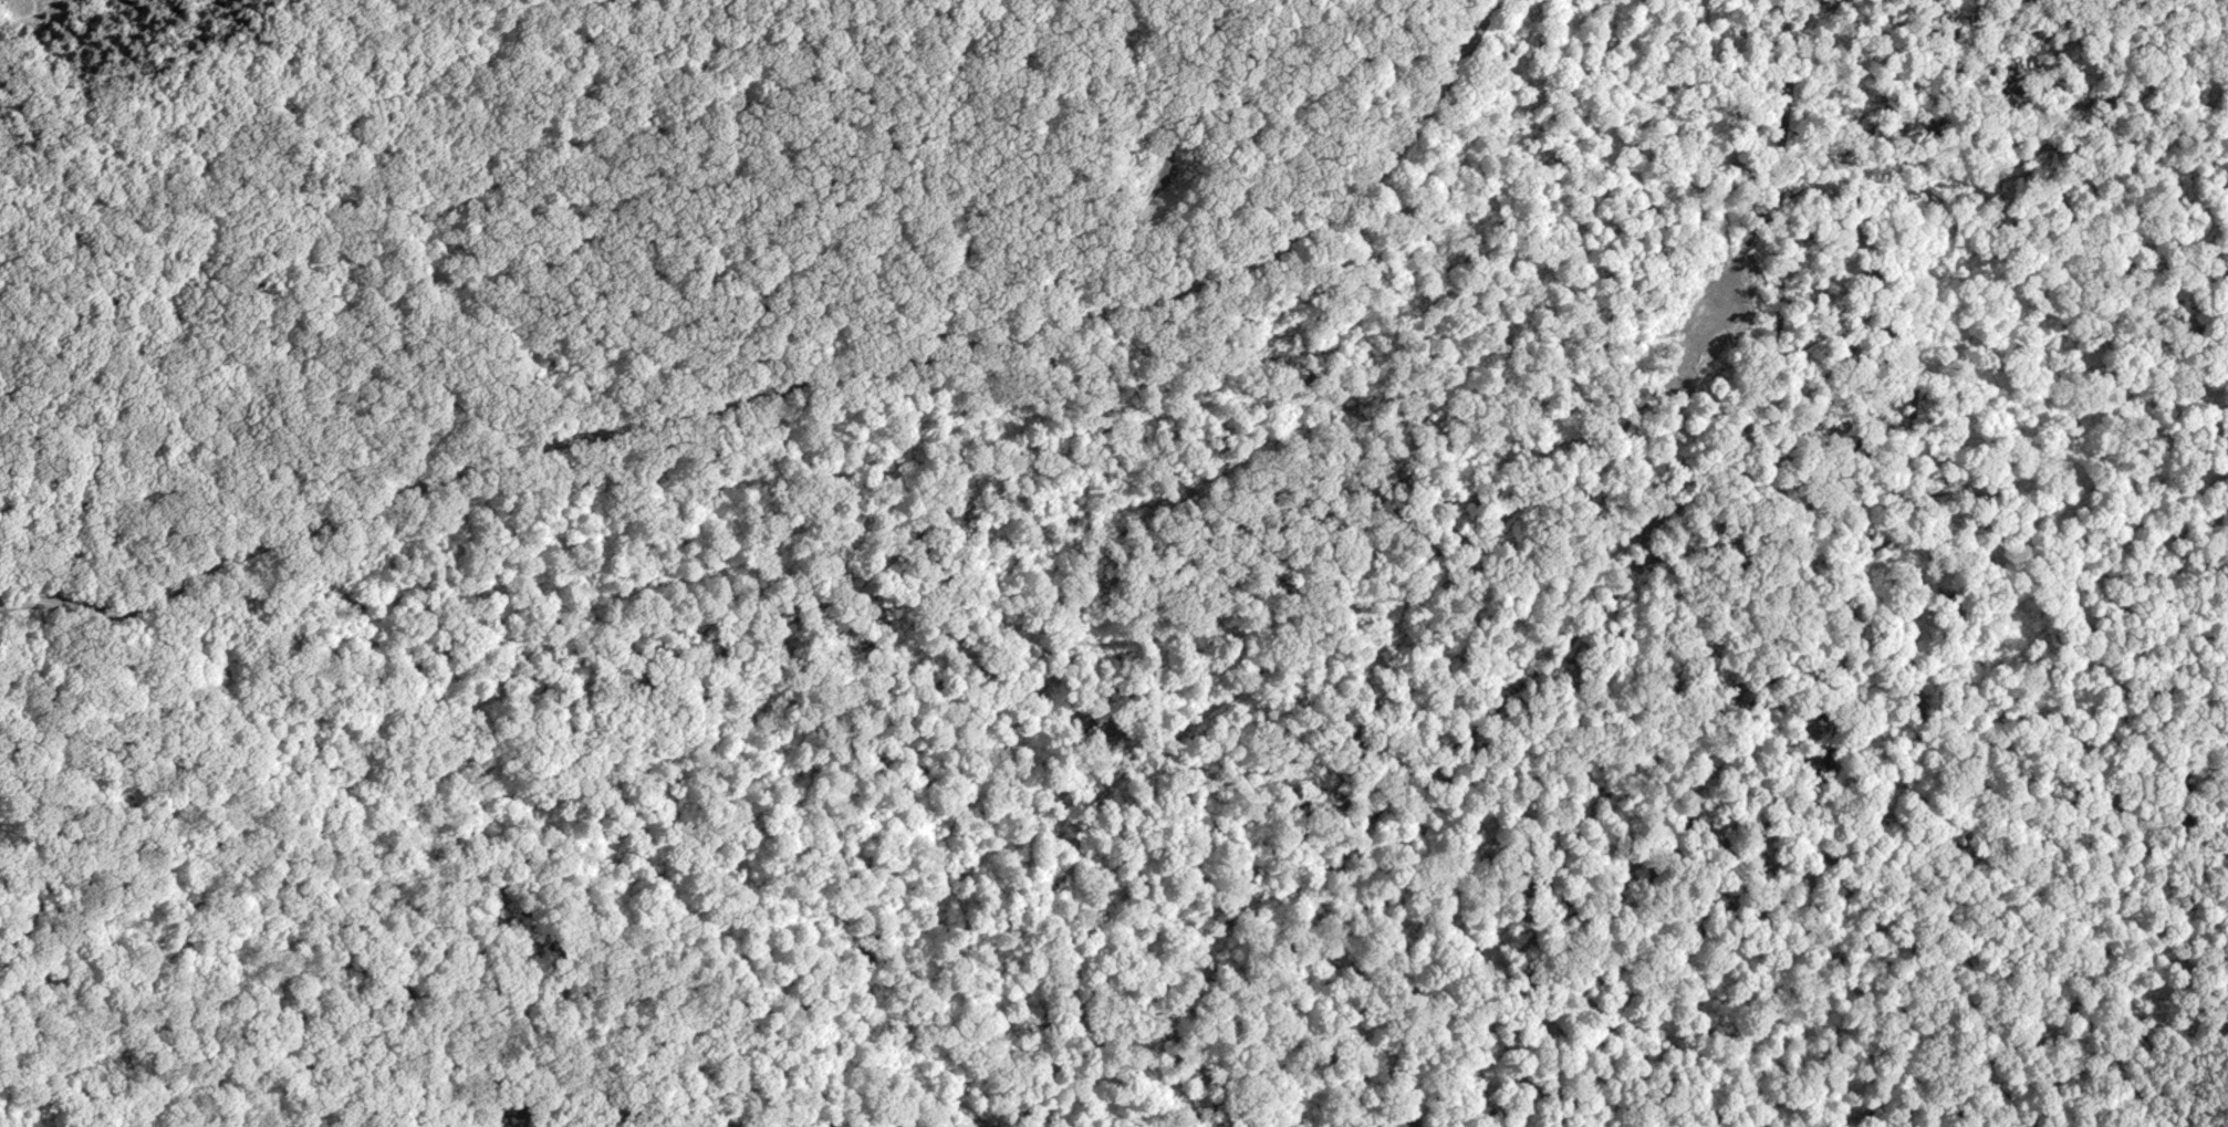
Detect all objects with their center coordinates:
road: (797, 386)

